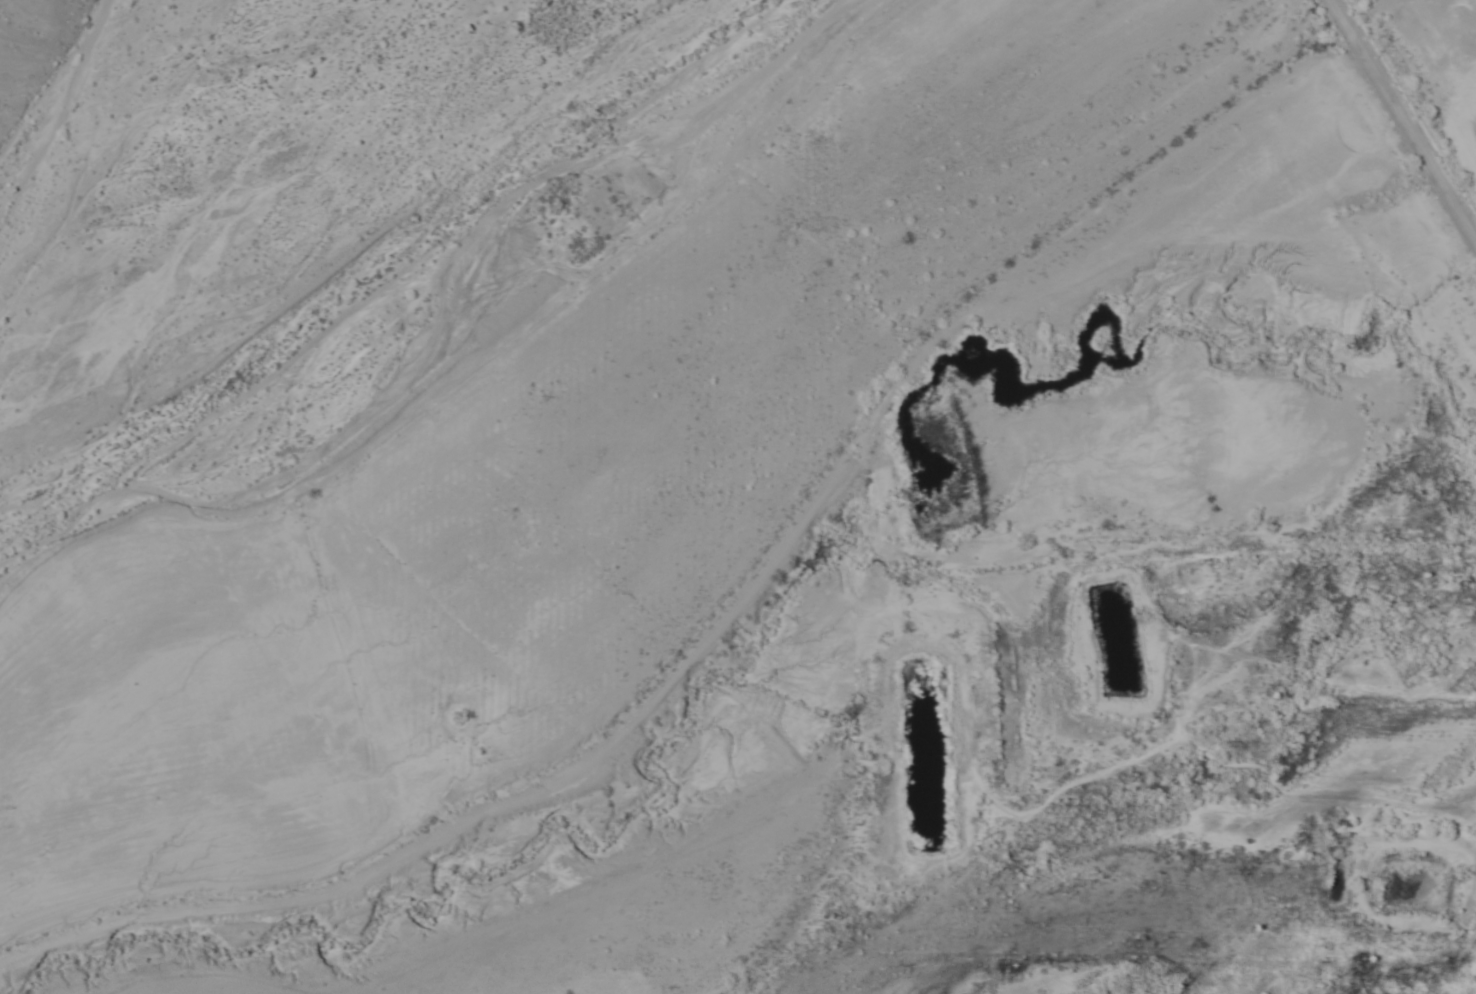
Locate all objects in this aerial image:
road: (1398, 169)

